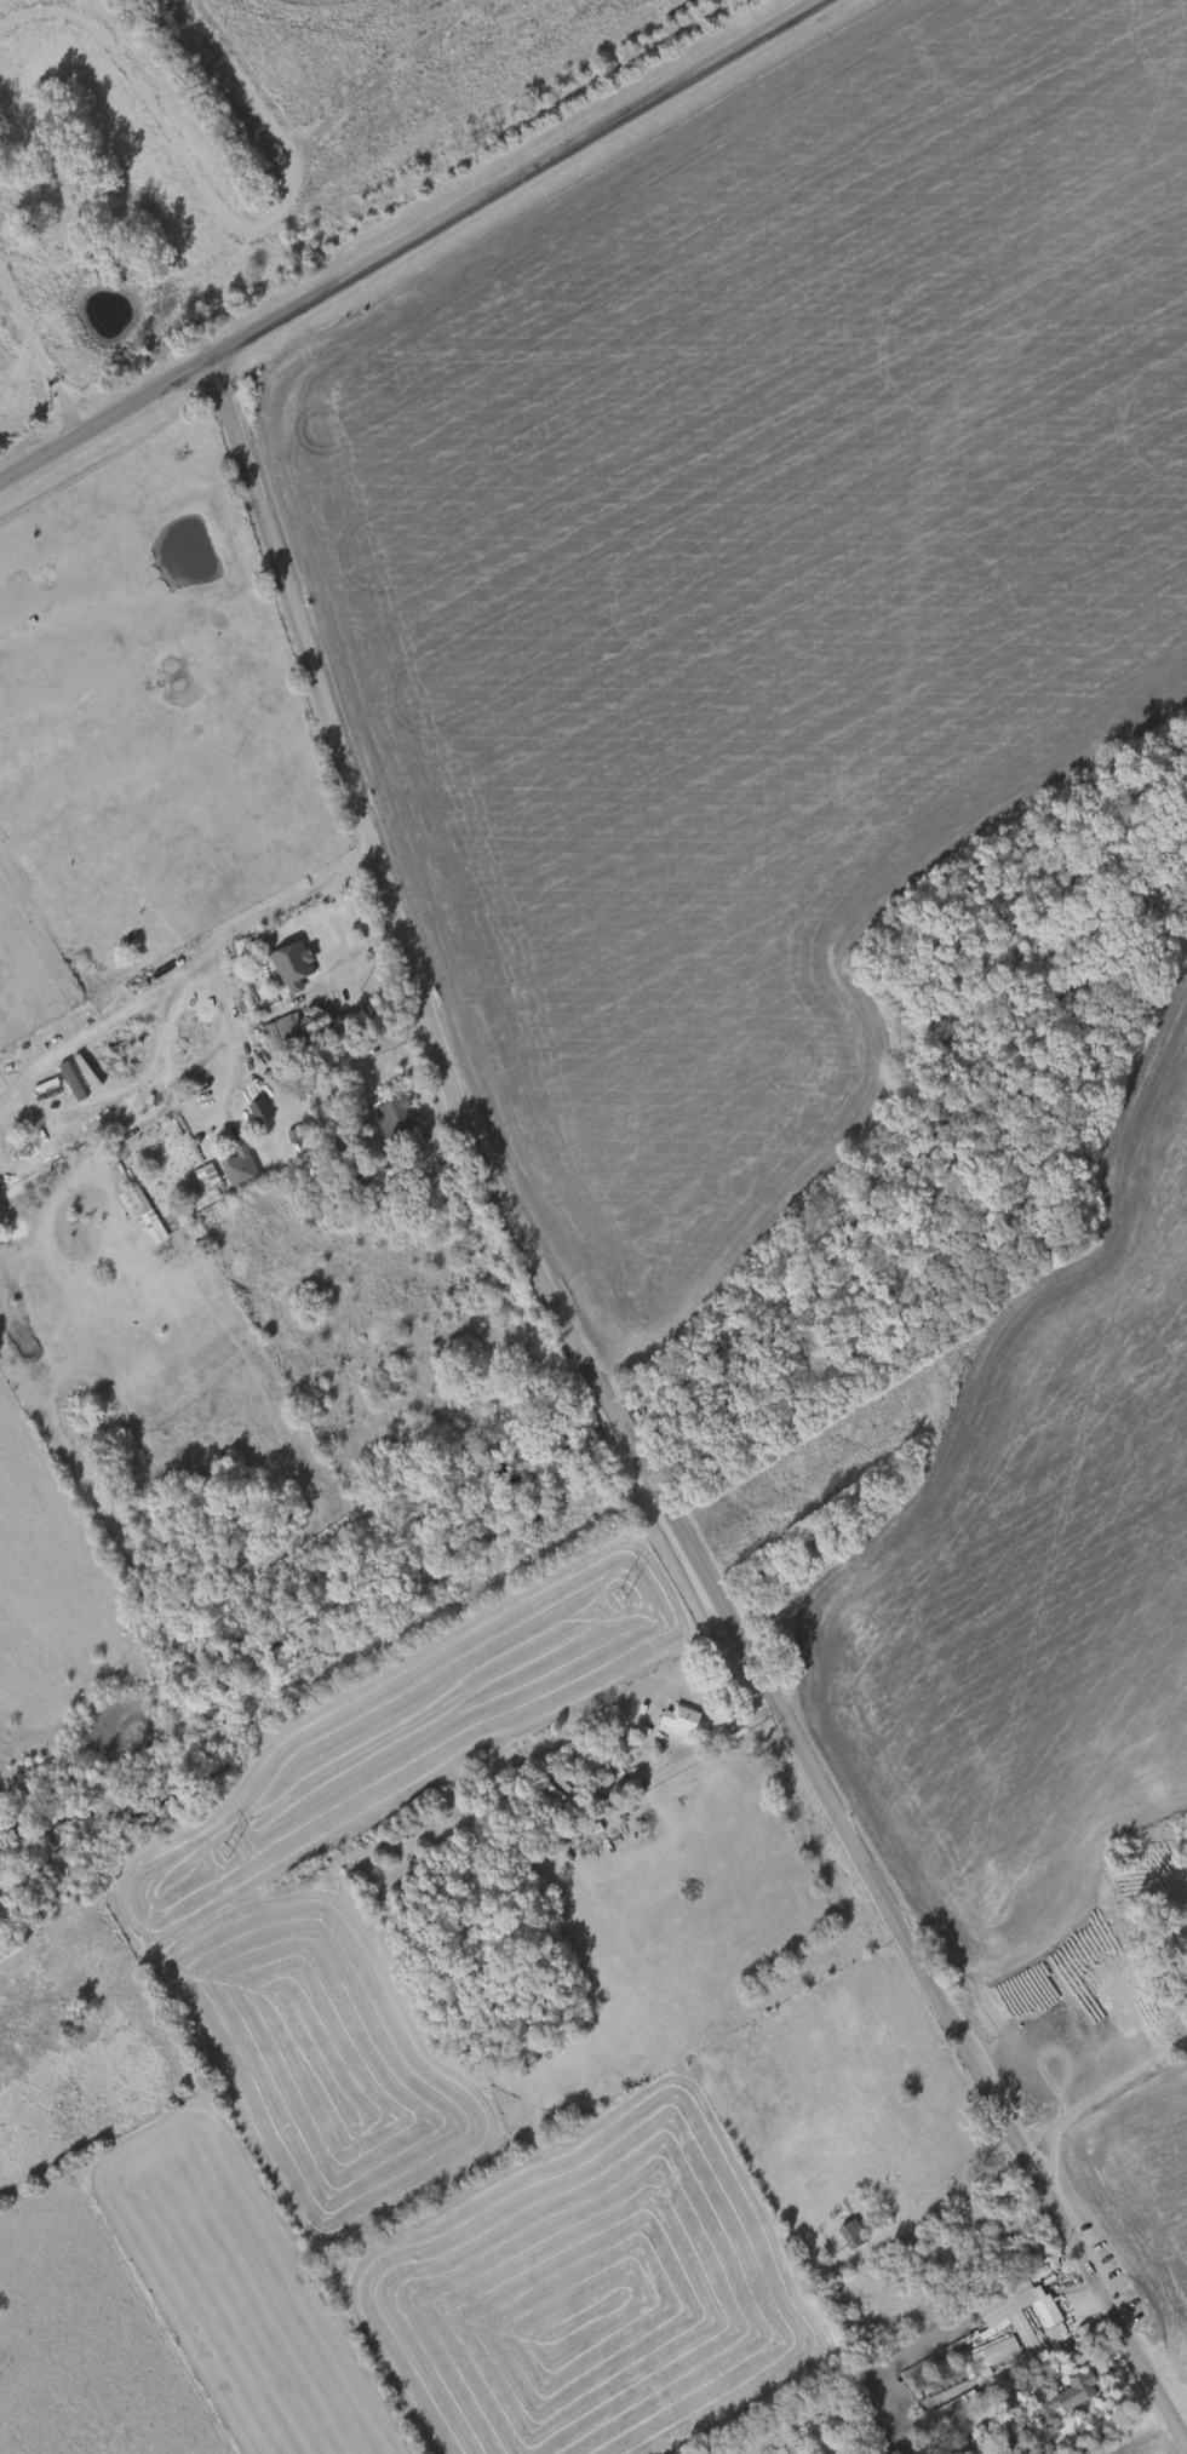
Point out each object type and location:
road: (412, 241)
road: (233, 934)
road: (349, 959)
building: (293, 967)
building: (288, 1034)
building: (71, 1082)
building: (397, 1123)
building: (237, 1166)
building: (207, 1179)
building: (141, 1210)
power tower: (951, 1382)
road: (629, 1435)
power tower: (621, 1595)
building: (677, 1718)
road: (735, 1724)
power tower: (226, 1850)
building: (1179, 1978)
road: (1101, 2092)
building: (850, 2232)
building: (1014, 2289)
building: (1045, 2310)
building: (1023, 2333)
building: (996, 2355)
building: (942, 2376)
building: (1070, 2395)
building: (950, 2407)
building: (976, 2414)

